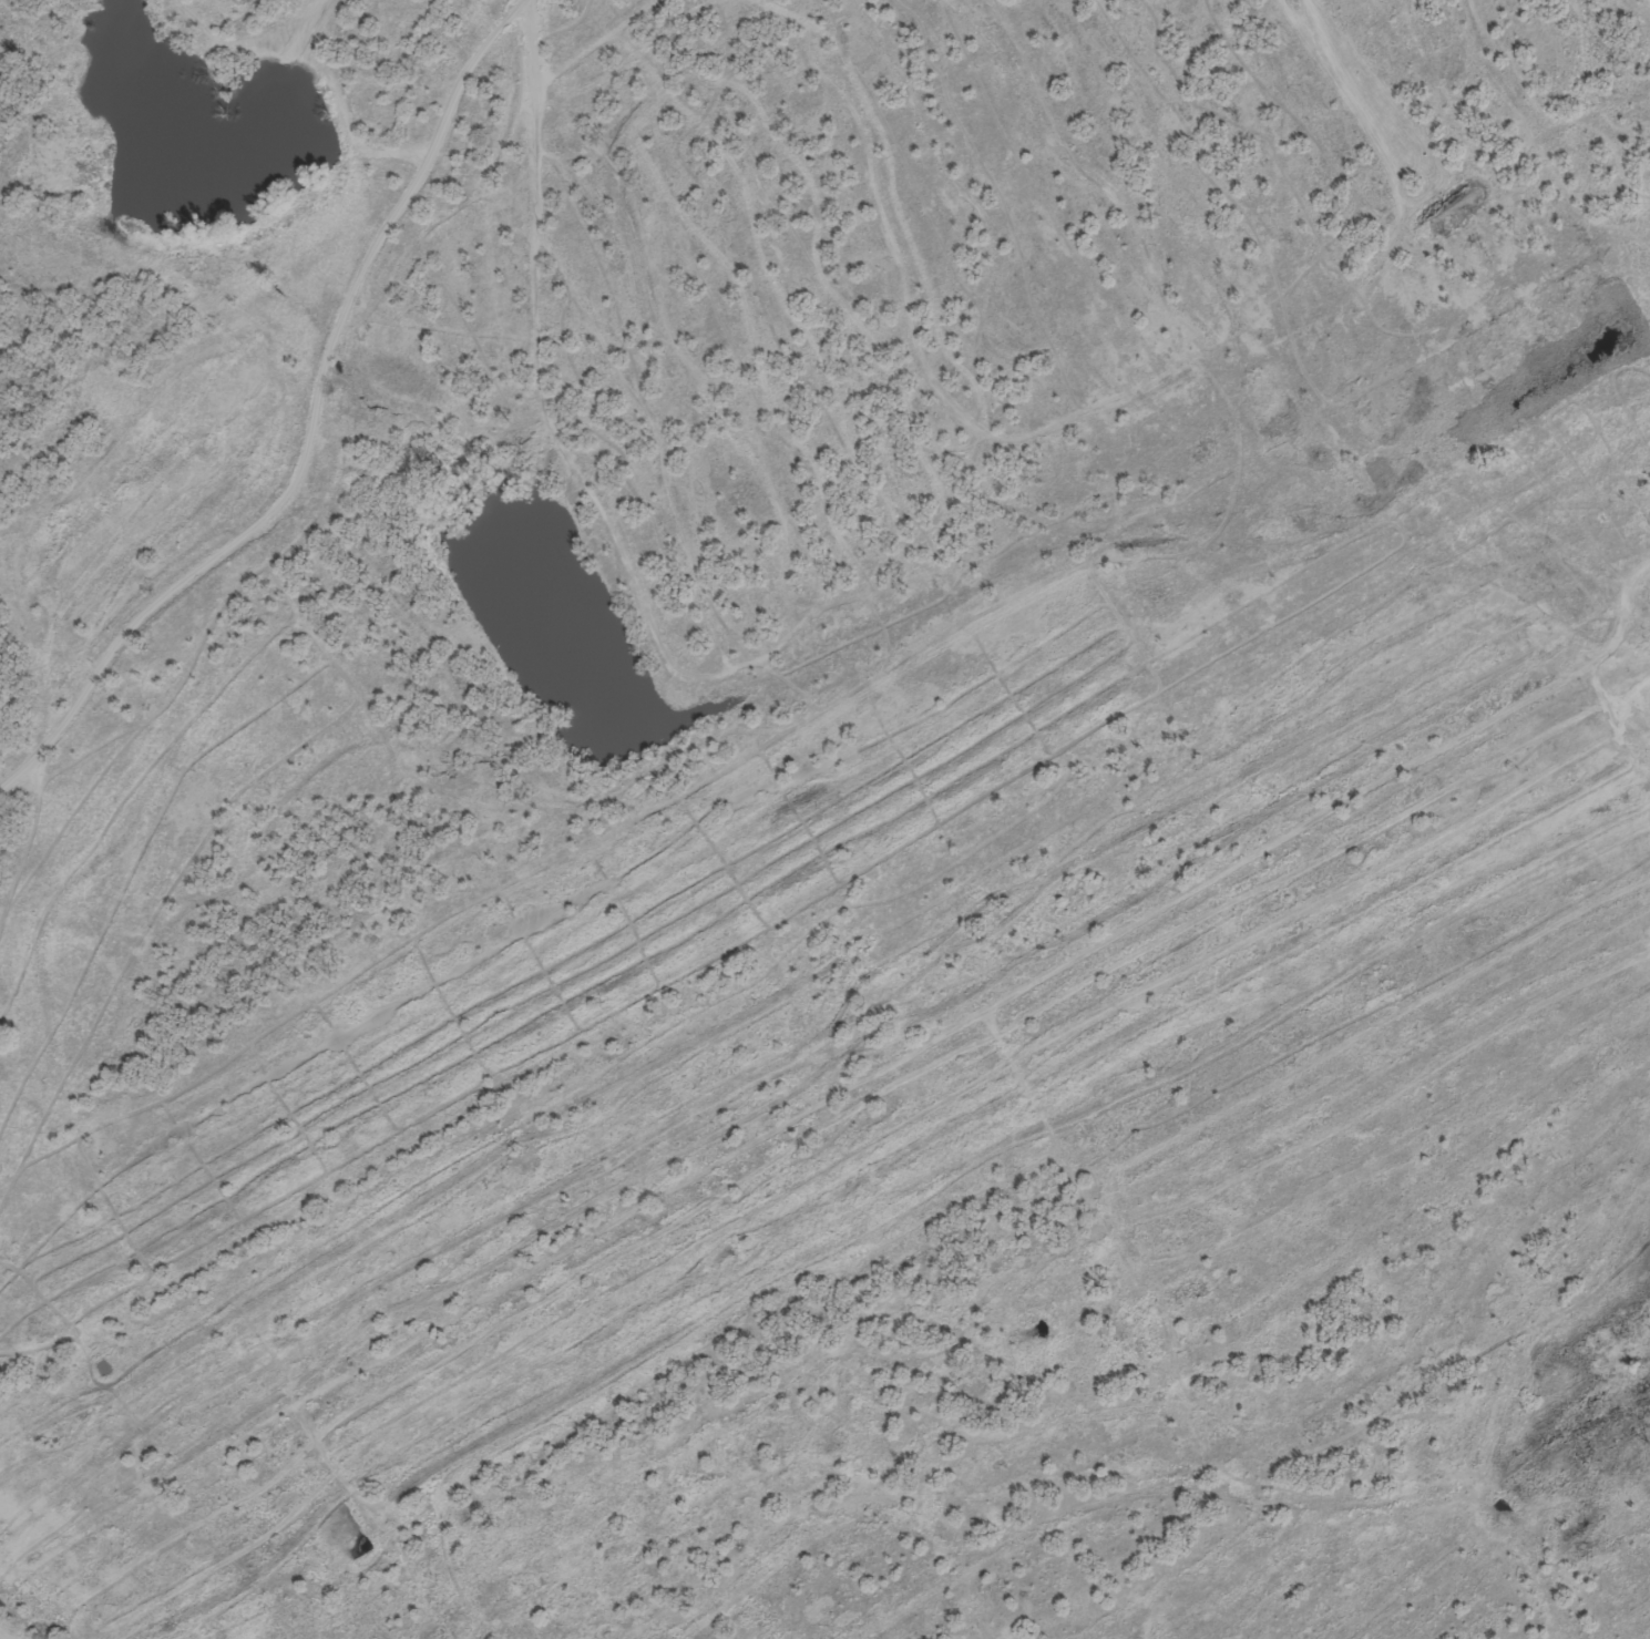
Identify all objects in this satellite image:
road: (1647, 2)
road: (1606, 48)
road: (205, 573)
road: (808, 705)
road: (25, 862)
road: (823, 936)
road: (10, 1631)

